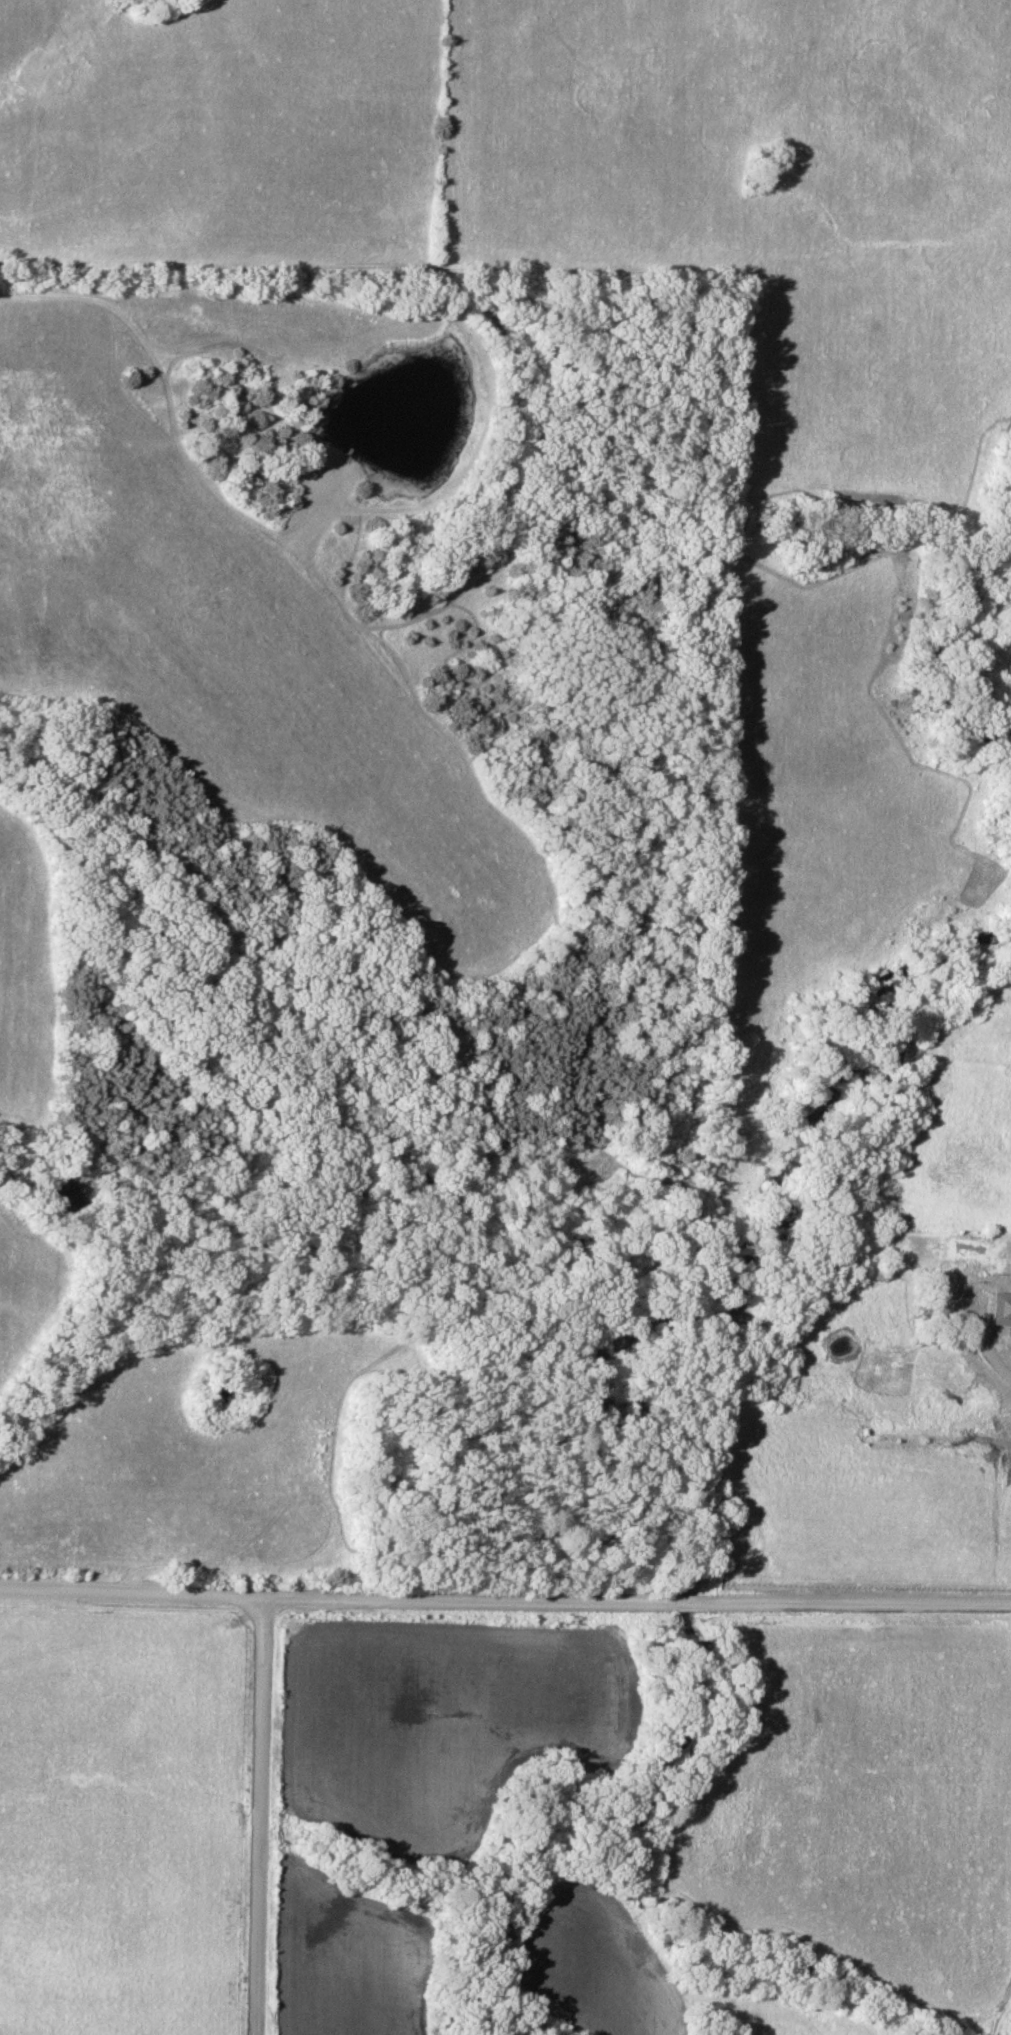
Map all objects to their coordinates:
building: (927, 1415)
road: (505, 1602)
road: (263, 1817)

